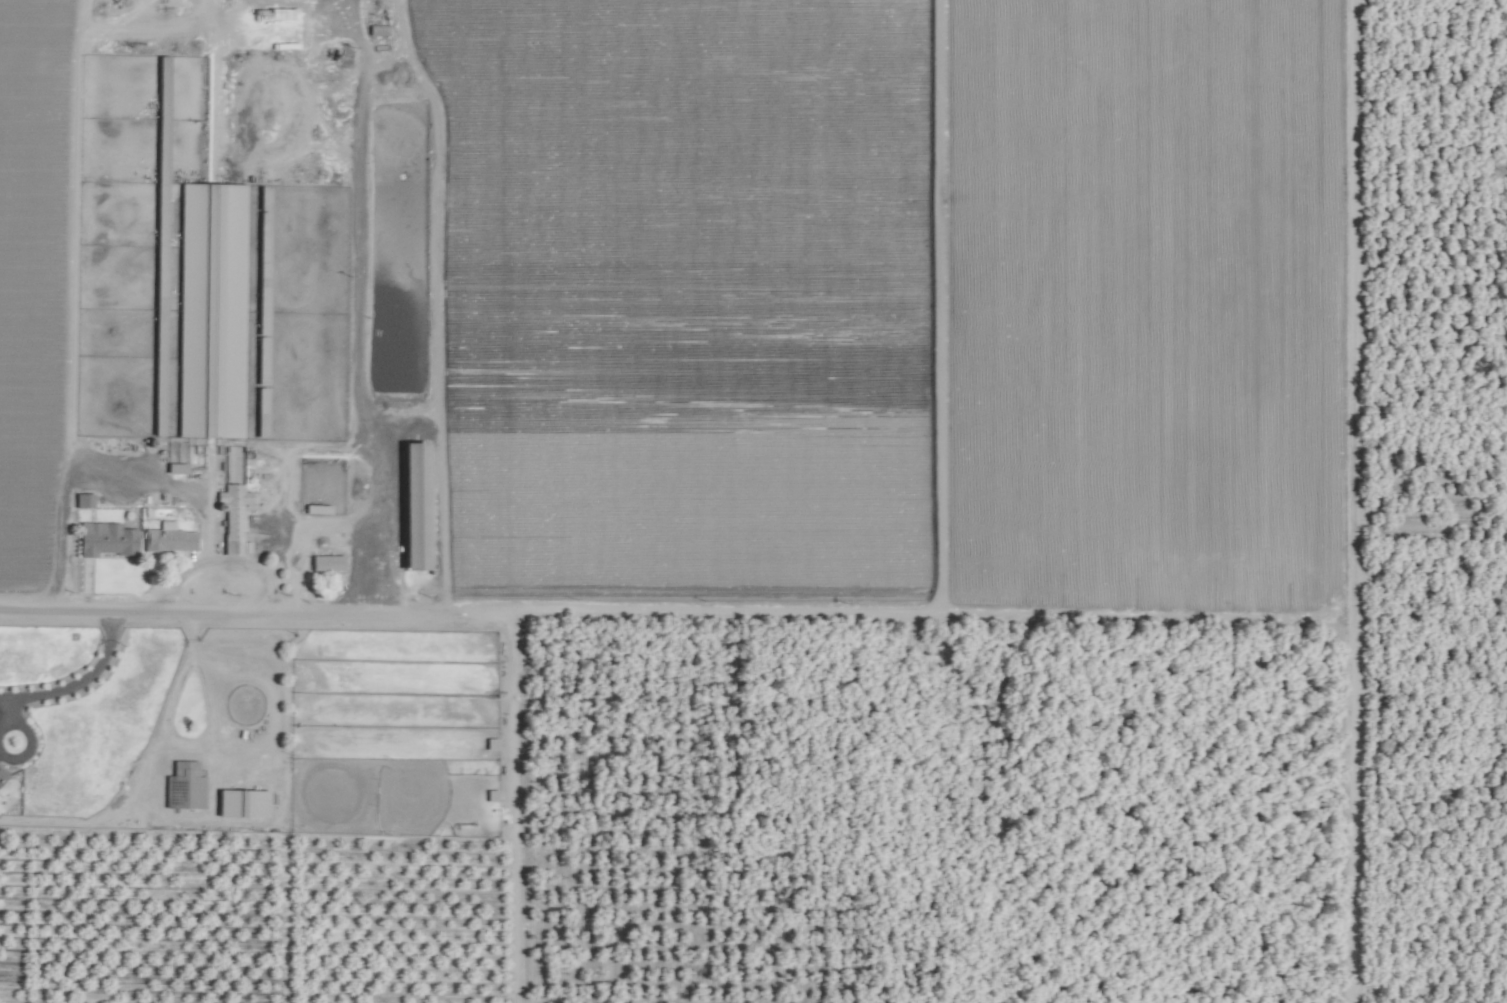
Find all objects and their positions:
crop: (257, 301)
road: (521, 312)
crop: (753, 501)
building: (232, 518)
building: (104, 539)
building: (168, 540)
building: (325, 563)
road: (257, 621)
road: (73, 683)
building: (2, 774)
building: (185, 783)
building: (240, 802)

